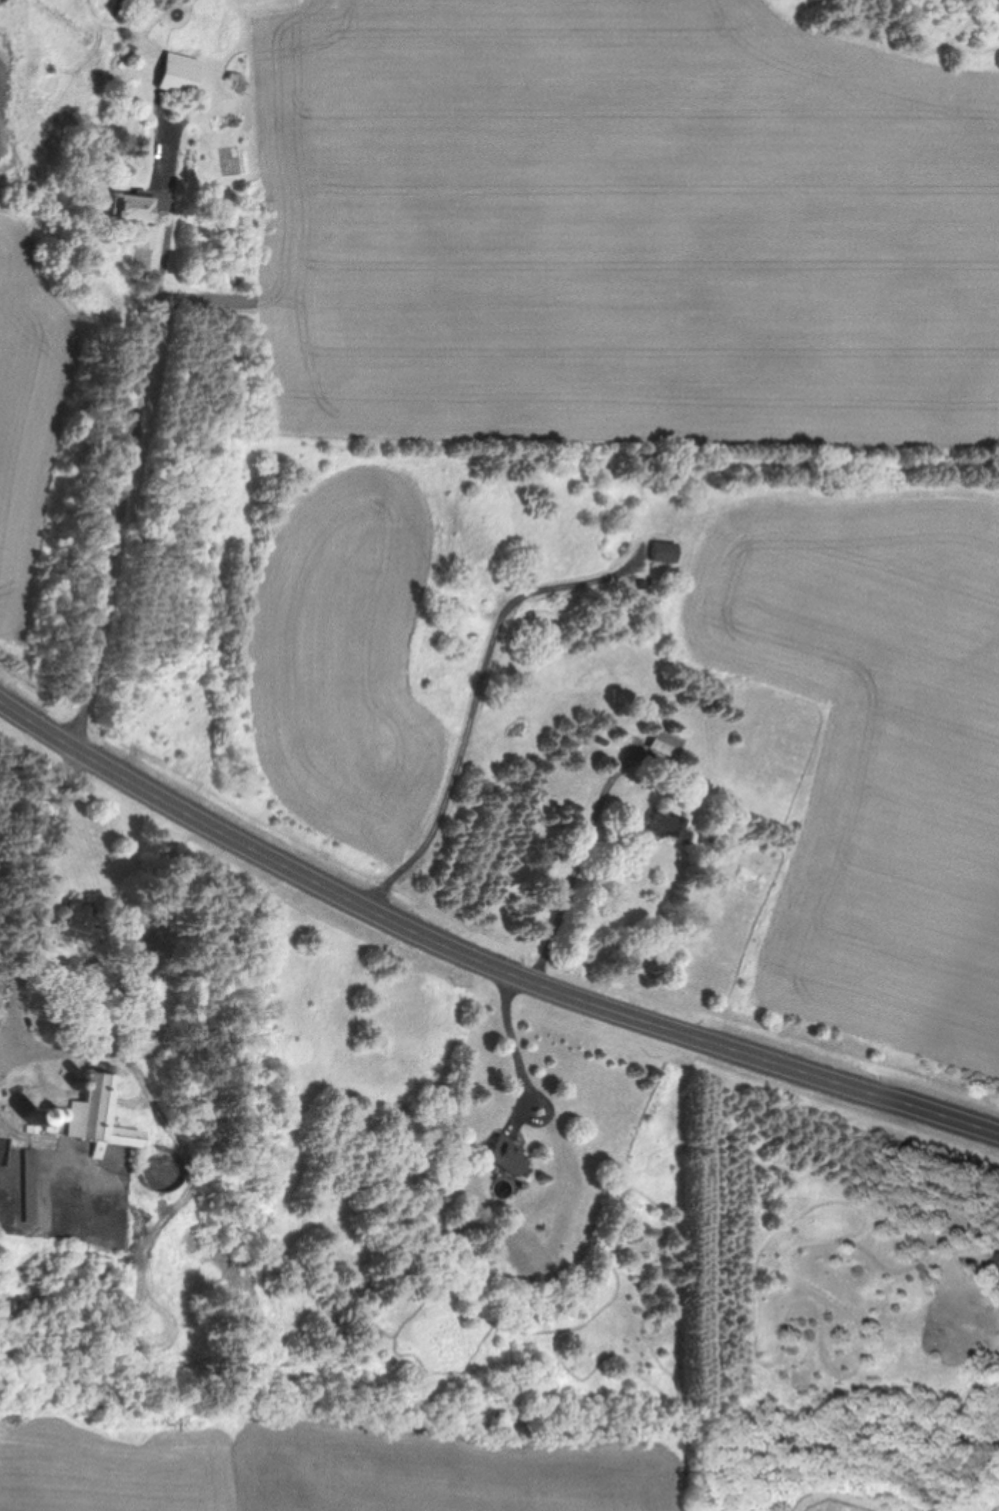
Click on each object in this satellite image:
building: (180, 73)
building: (136, 215)
building: (663, 551)
road: (107, 612)
road: (474, 698)
building: (666, 742)
building: (668, 826)
road: (582, 863)
road: (482, 956)
building: (2, 985)
road: (515, 1043)
building: (98, 1116)
building: (52, 1119)
building: (28, 1120)
building: (5, 1148)
building: (506, 1156)
building: (31, 1185)
building: (998, 1263)

